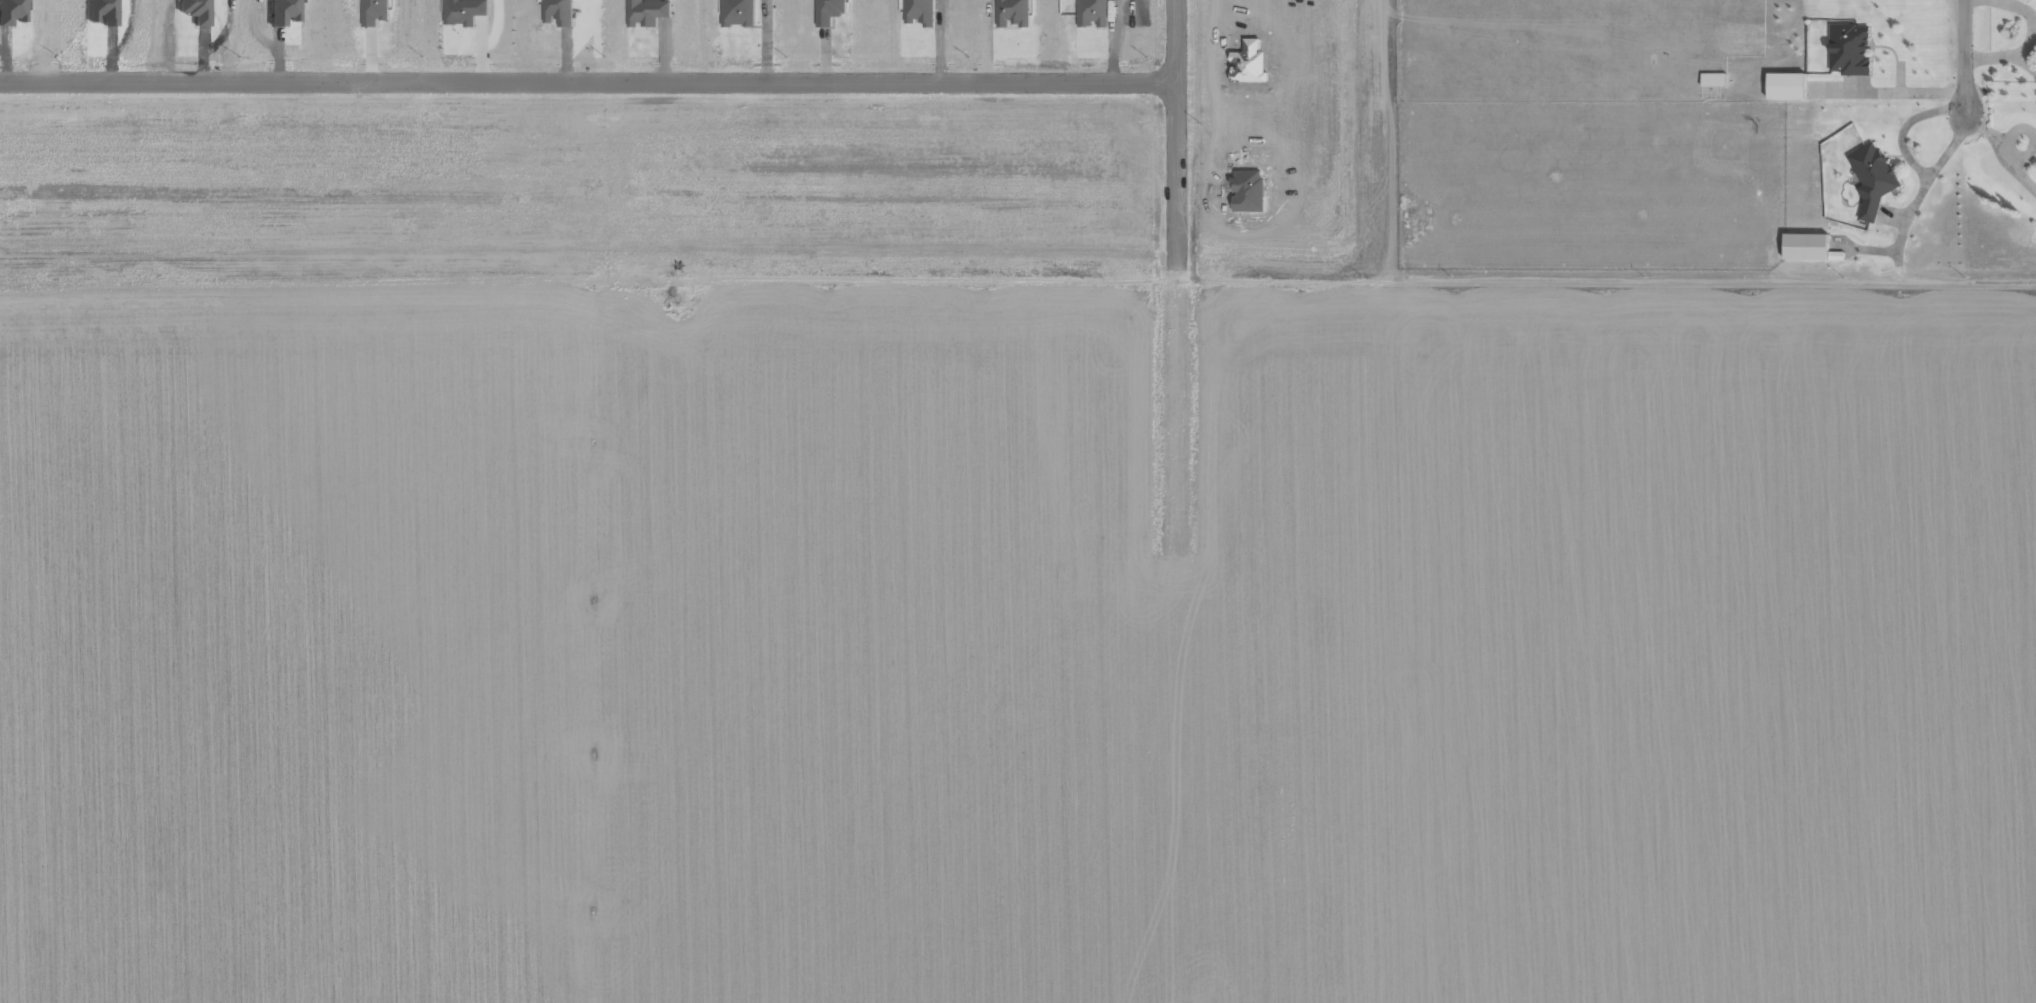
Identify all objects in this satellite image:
building: (194, 10)
building: (11, 11)
building: (283, 11)
building: (373, 11)
building: (463, 11)
building: (828, 11)
building: (919, 11)
building: (101, 12)
building: (558, 12)
building: (645, 12)
building: (737, 12)
building: (1011, 12)
building: (1092, 12)
building: (1848, 49)
road: (1963, 57)
building: (1712, 79)
road: (586, 82)
building: (1784, 85)
building: (1821, 89)
road: (1174, 141)
building: (1871, 178)
building: (1804, 246)
road: (1017, 283)

